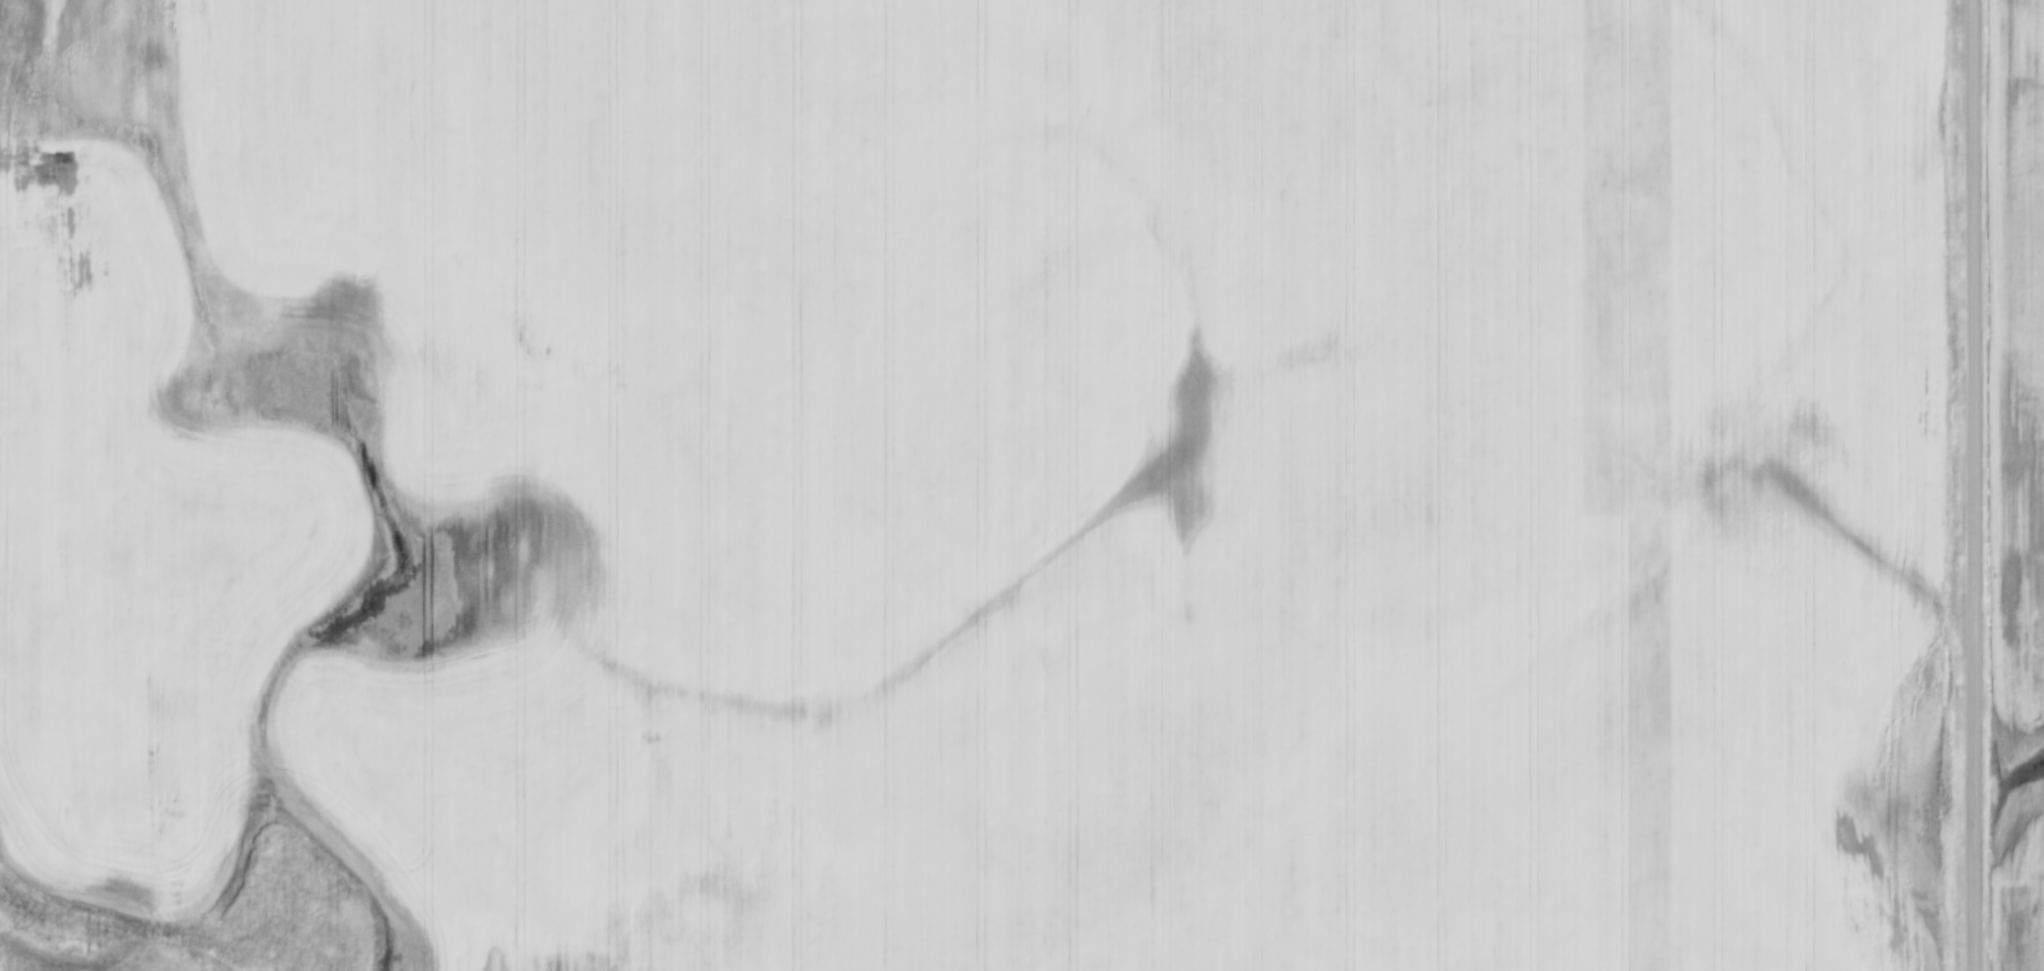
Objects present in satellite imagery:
road: (1974, 485)

